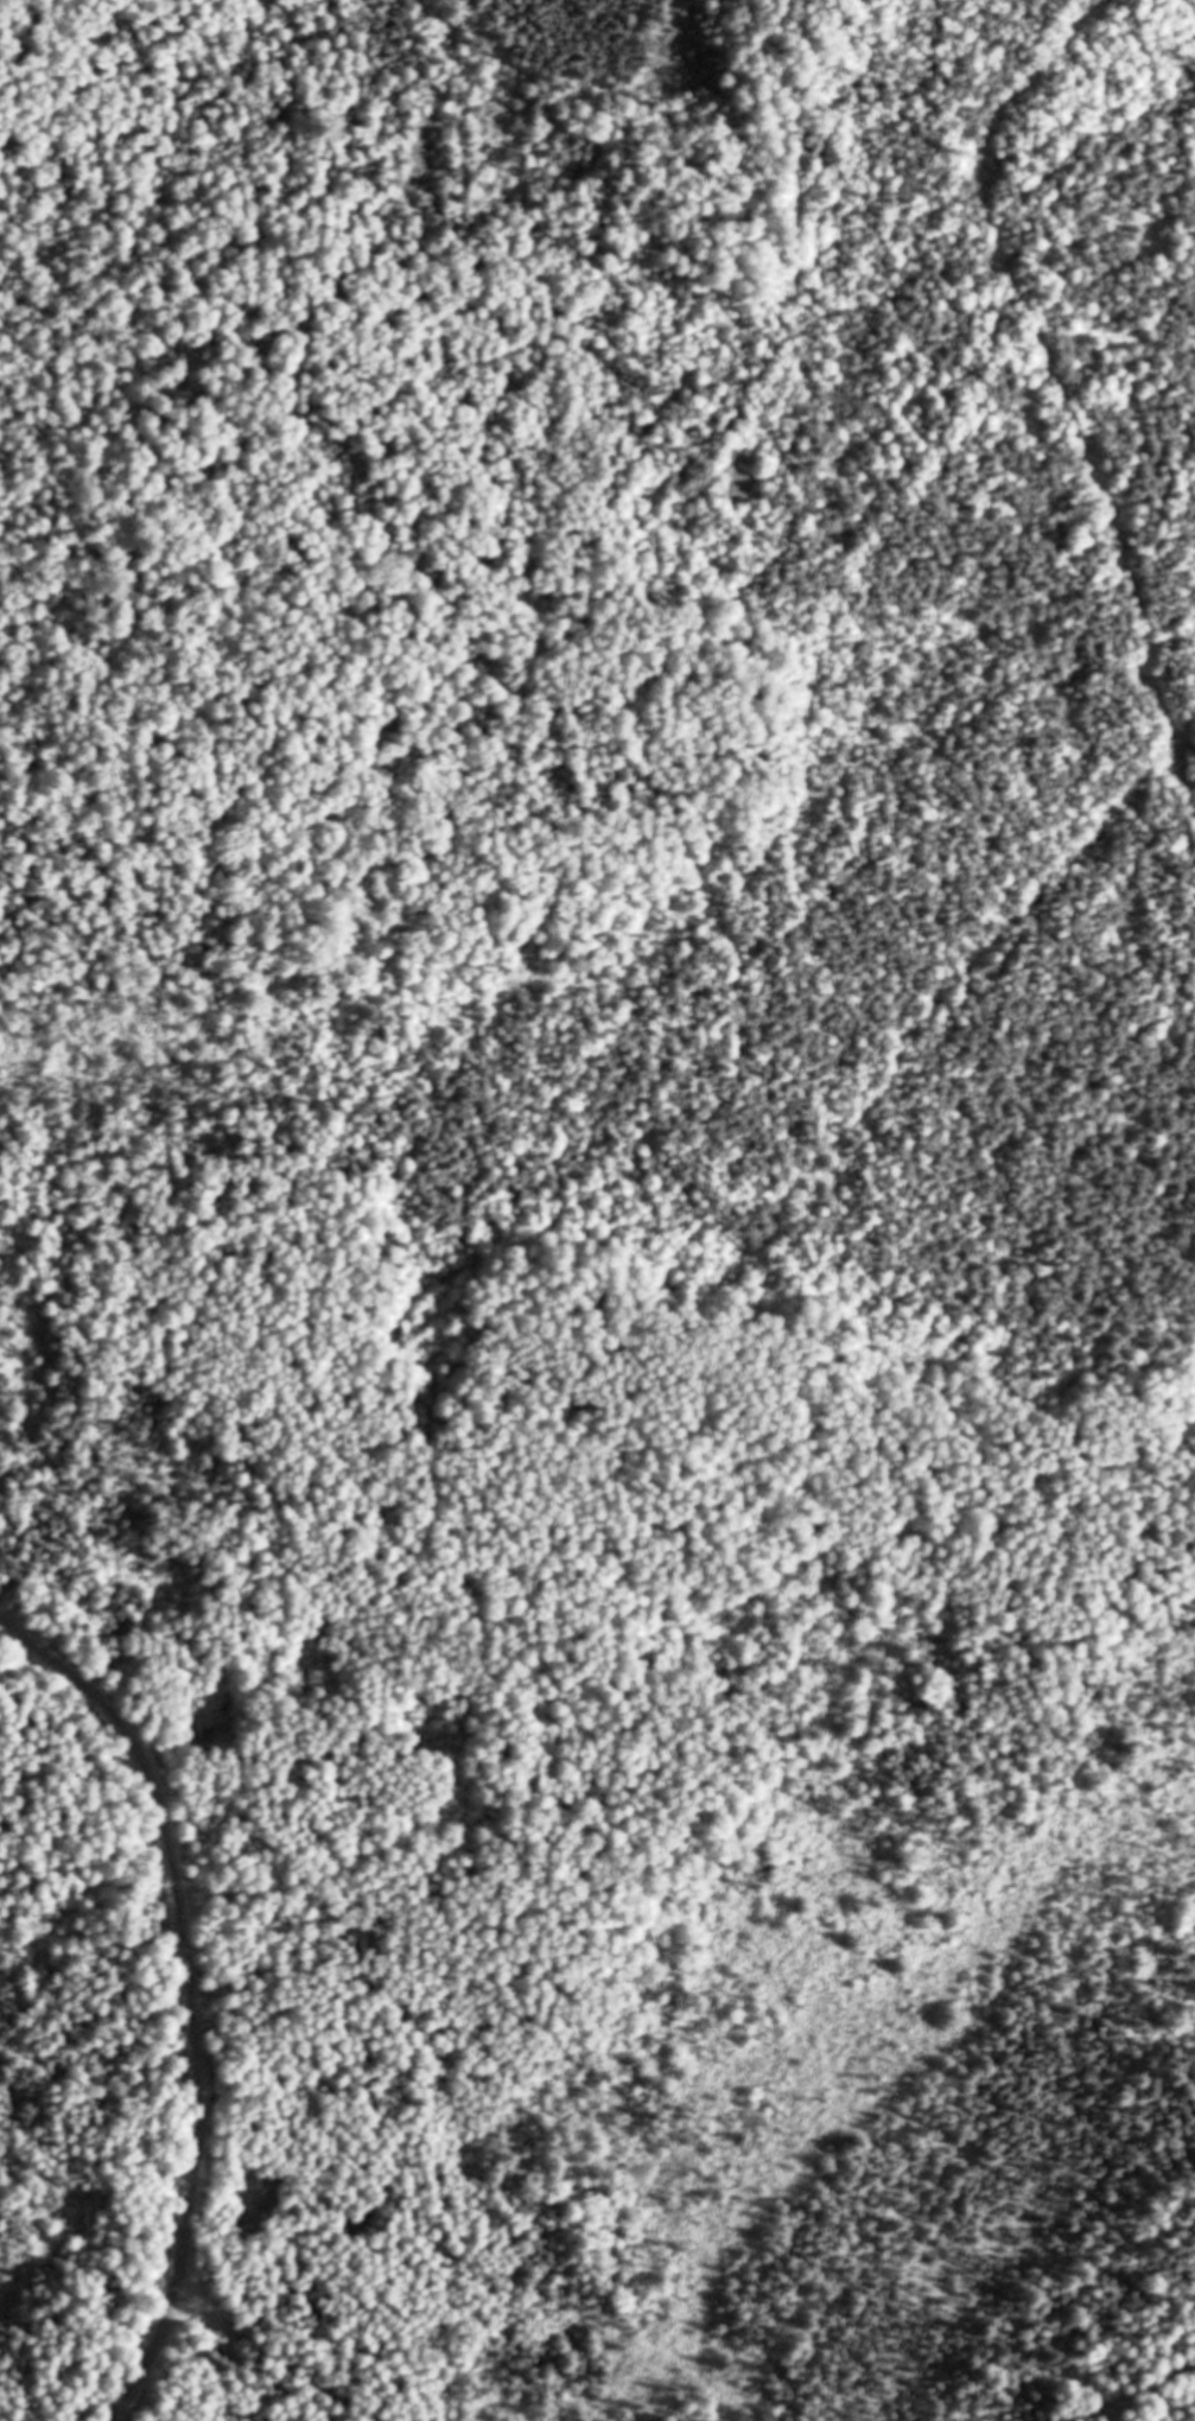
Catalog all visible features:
road: (184, 1997)
road: (323, 2357)
road: (1012, 2364)

